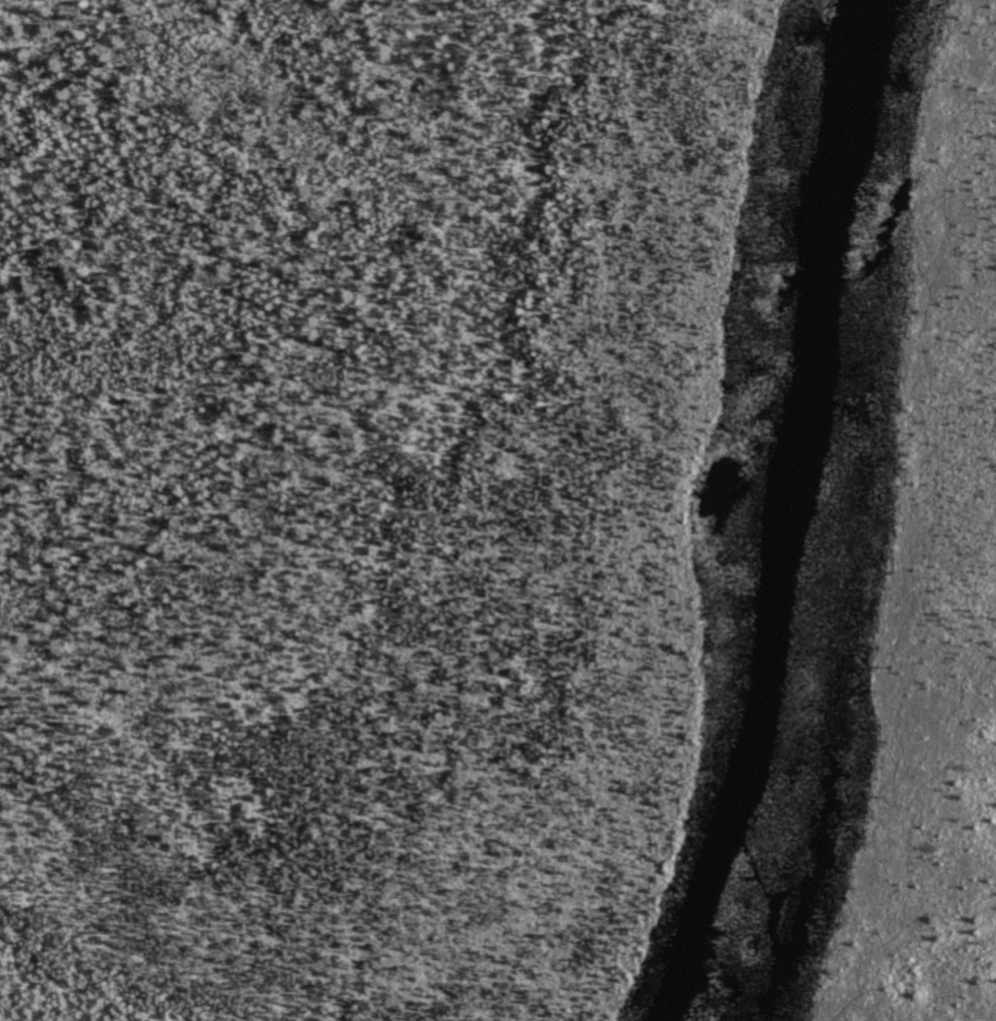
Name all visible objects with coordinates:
river: (795, 514)

